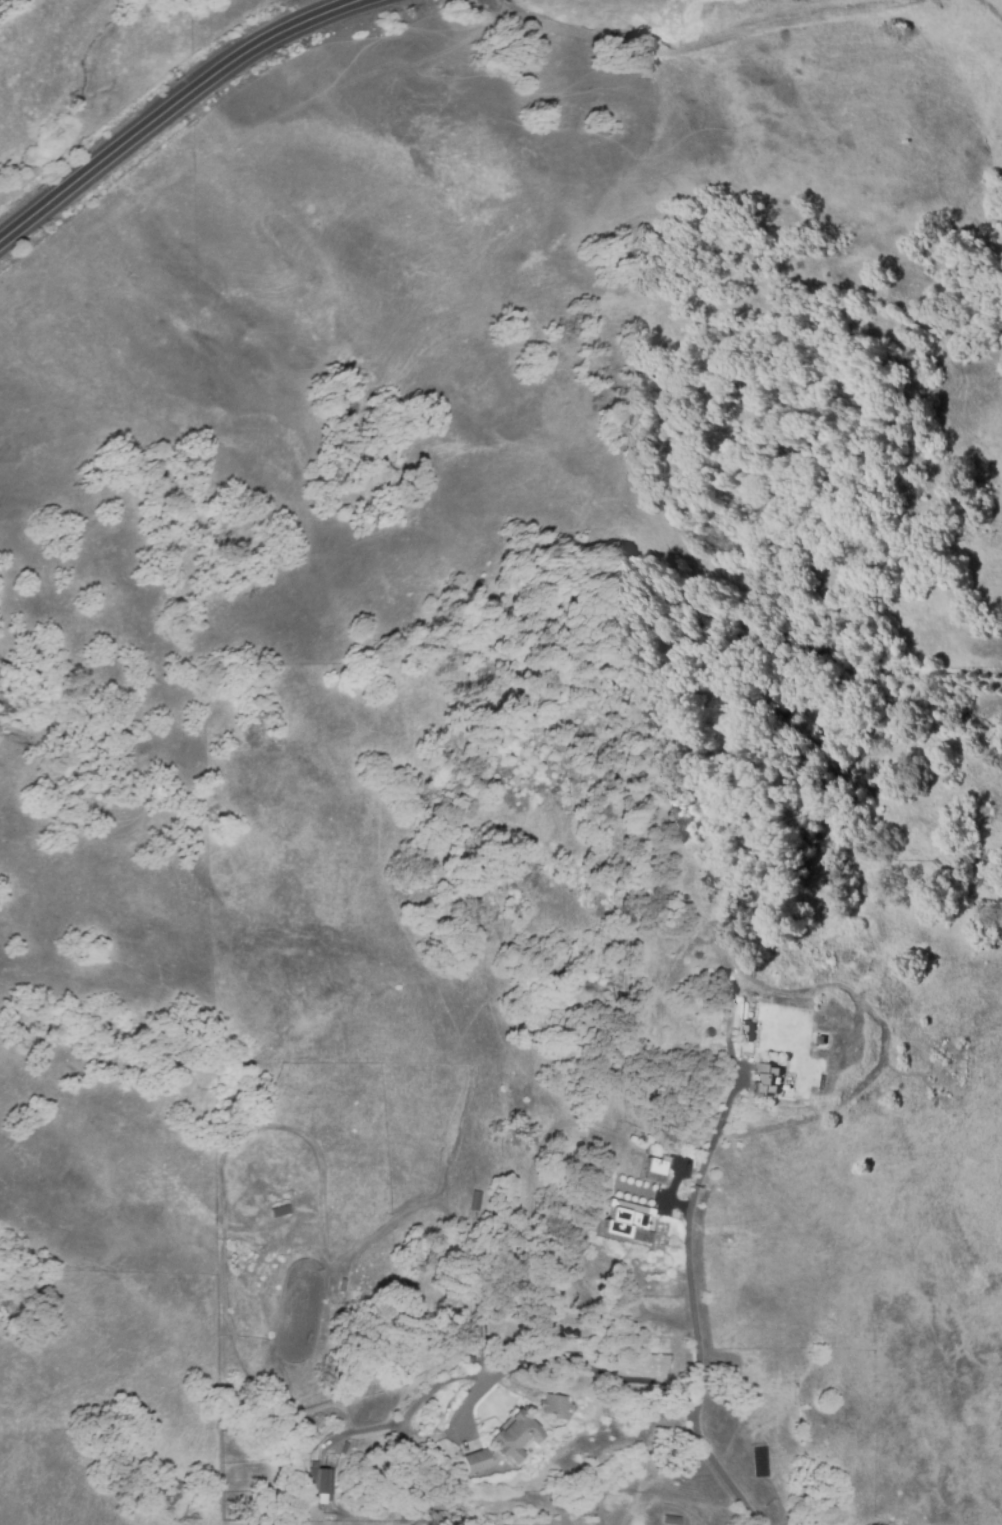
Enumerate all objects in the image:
road: (170, 104)
building: (704, 918)
building: (708, 1031)
building: (745, 1032)
building: (803, 1048)
building: (766, 1078)
building: (475, 1198)
building: (627, 1221)
road: (695, 1301)
road: (505, 1367)
building: (557, 1397)
building: (506, 1438)
building: (320, 1486)

